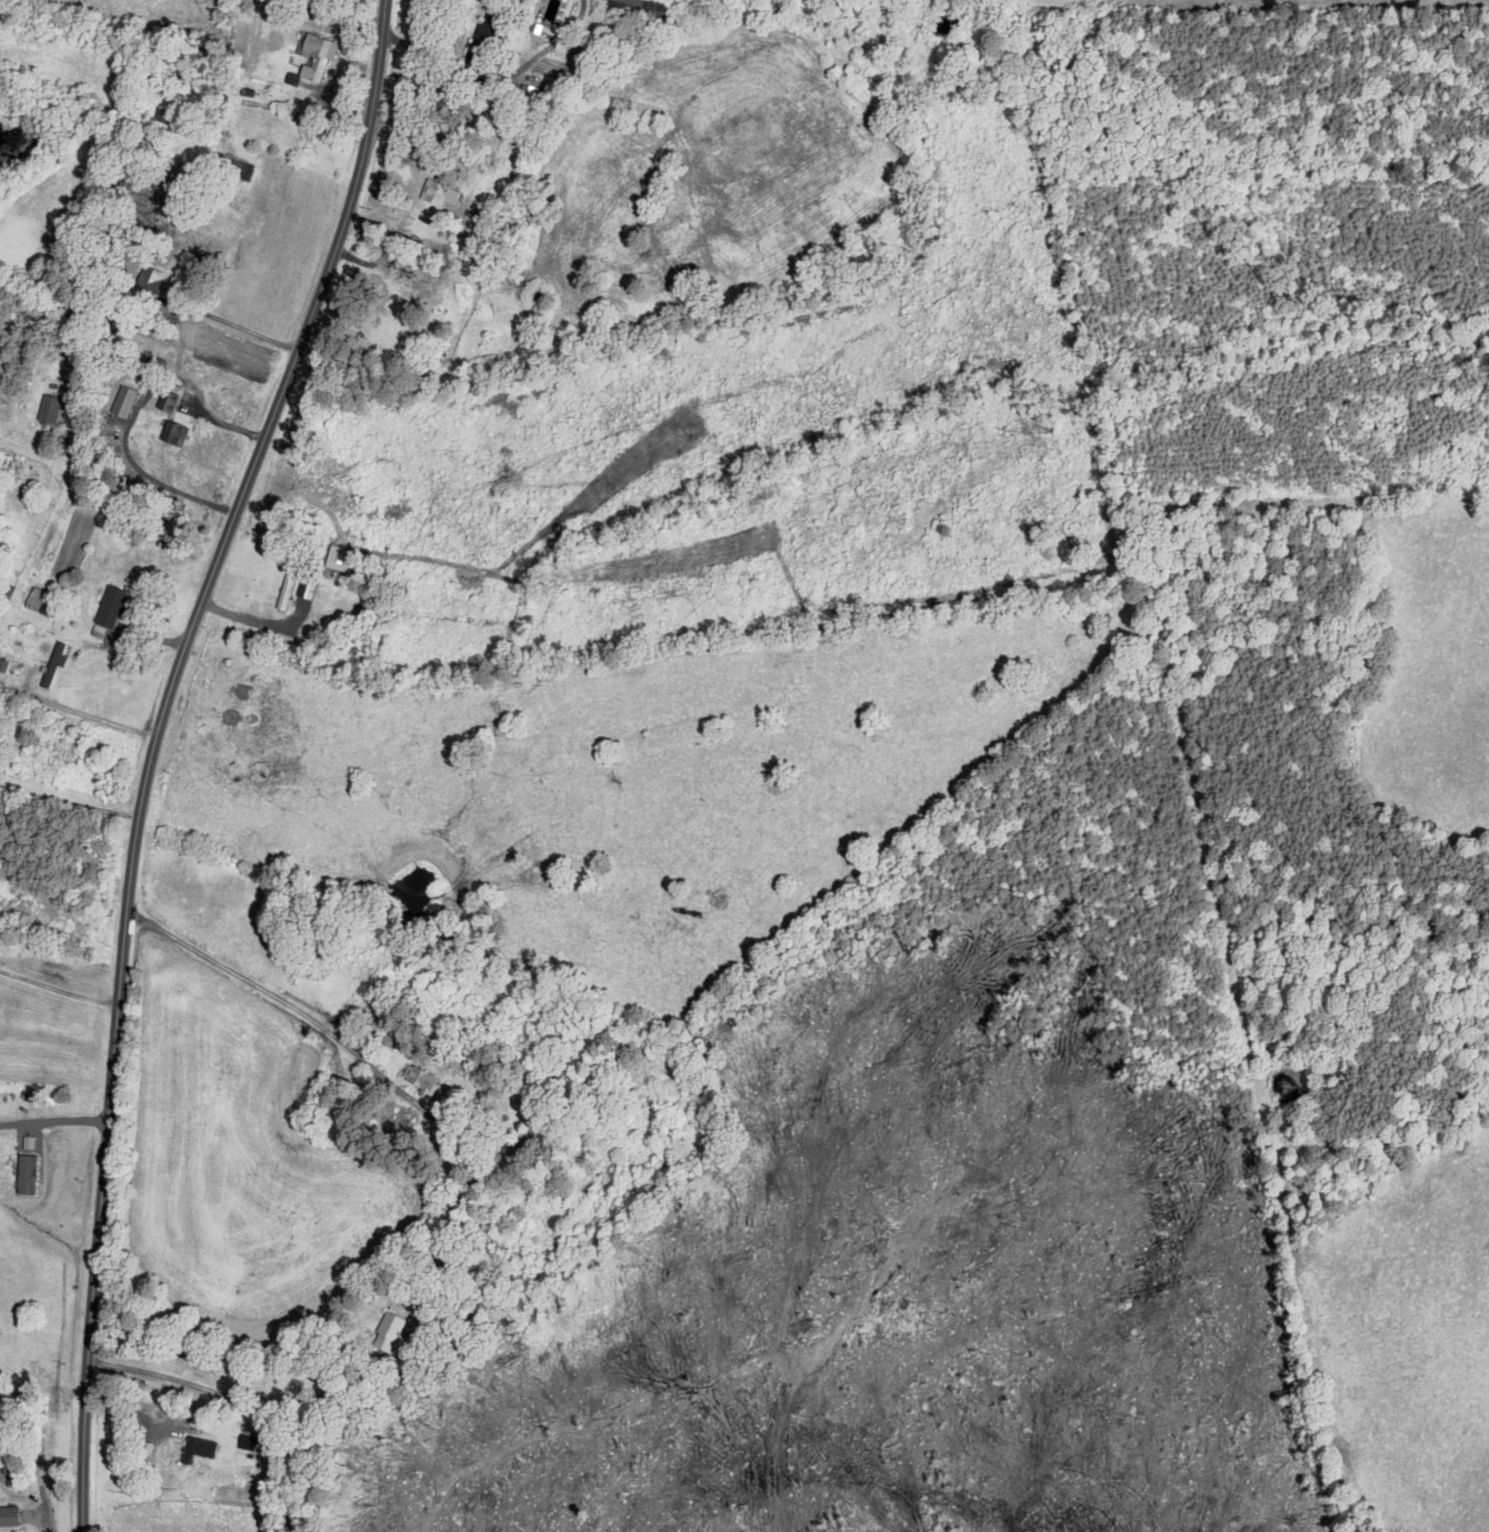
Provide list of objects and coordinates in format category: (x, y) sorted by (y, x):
building: (483, 35)
building: (315, 55)
building: (291, 78)
building: (238, 168)
building: (439, 194)
building: (147, 278)
building: (121, 401)
building: (165, 401)
building: (47, 408)
building: (172, 433)
building: (305, 590)
building: (283, 595)
building: (31, 603)
building: (107, 608)
building: (52, 665)
road: (152, 747)
building: (419, 1080)
building: (28, 1142)
building: (25, 1175)
building: (389, 1331)
road: (259, 1402)
building: (195, 1448)
building: (8, 1515)

